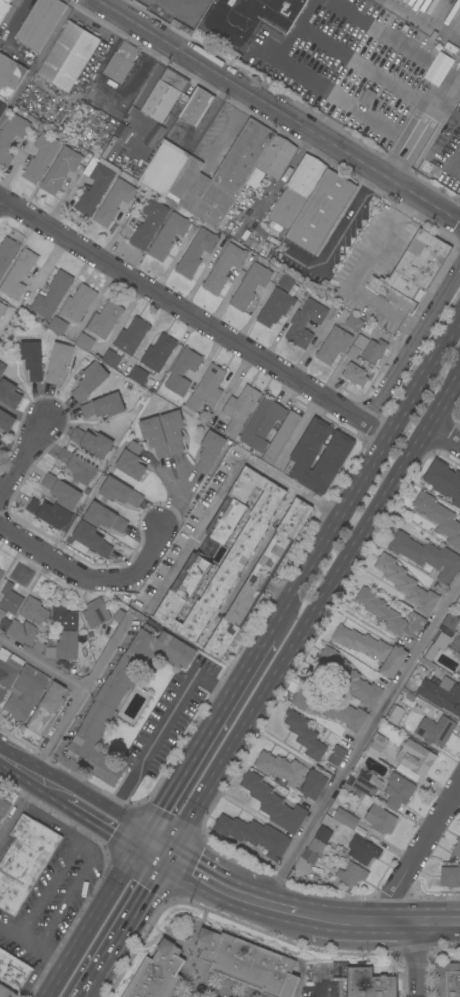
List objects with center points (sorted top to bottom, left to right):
road: (110, 2)
building: (3, 8)
road: (15, 17)
building: (248, 19)
building: (40, 24)
building: (69, 56)
road: (351, 59)
building: (121, 62)
road: (443, 68)
road: (455, 73)
building: (10, 76)
road: (328, 90)
building: (164, 94)
building: (196, 107)
building: (2, 108)
road: (447, 108)
road: (279, 110)
building: (11, 133)
building: (41, 157)
road: (454, 163)
building: (268, 166)
building: (164, 168)
building: (61, 169)
building: (221, 176)
building: (94, 185)
building: (297, 191)
building: (113, 202)
building: (321, 211)
road: (458, 221)
building: (149, 223)
parking lot: (354, 230)
building: (168, 235)
road: (339, 236)
building: (196, 252)
building: (7, 254)
building: (224, 268)
building: (413, 271)
road: (359, 273)
parking lot: (364, 273)
building: (18, 277)
building: (286, 282)
building: (250, 286)
building: (52, 295)
building: (78, 303)
building: (275, 307)
building: (2, 309)
building: (105, 319)
road: (192, 319)
building: (305, 322)
building: (354, 323)
building: (57, 325)
building: (132, 336)
building: (84, 342)
road: (411, 342)
building: (334, 345)
building: (367, 348)
building: (158, 352)
building: (111, 358)
building: (32, 359)
building: (58, 361)
building: (2, 368)
building: (182, 371)
building: (355, 374)
building: (138, 375)
building: (90, 381)
building: (206, 391)
building: (9, 394)
building: (104, 406)
building: (240, 409)
building: (6, 421)
building: (262, 424)
building: (173, 431)
building: (154, 436)
building: (281, 437)
road: (442, 437)
building: (92, 442)
building: (0, 445)
building: (210, 451)
building: (305, 454)
road: (22, 458)
building: (132, 461)
building: (78, 466)
road: (364, 474)
building: (444, 480)
road: (291, 484)
building: (62, 491)
building: (120, 492)
building: (51, 514)
building: (105, 517)
building: (439, 517)
road: (193, 531)
building: (91, 539)
road: (144, 553)
building: (238, 555)
building: (426, 555)
road: (60, 562)
building: (1, 574)
building: (258, 580)
building: (407, 584)
building: (11, 599)
building: (381, 610)
building: (33, 611)
building: (96, 613)
road: (313, 616)
building: (65, 618)
building: (4, 621)
building: (451, 621)
building: (414, 624)
building: (442, 627)
building: (23, 632)
building: (454, 642)
building: (361, 643)
building: (440, 643)
building: (64, 647)
building: (93, 648)
building: (459, 658)
road: (42, 661)
building: (394, 662)
building: (8, 670)
building: (459, 674)
building: (350, 678)
building: (26, 692)
building: (439, 693)
road: (78, 697)
building: (409, 697)
building: (122, 698)
building: (47, 708)
building: (331, 709)
building: (396, 714)
building: (435, 731)
road: (160, 732)
building: (383, 734)
building: (305, 735)
road: (205, 740)
road: (358, 741)
building: (375, 749)
building: (337, 755)
building: (416, 758)
road: (12, 768)
building: (281, 768)
road: (29, 779)
building: (315, 782)
building: (368, 785)
road: (50, 792)
building: (399, 792)
road: (28, 793)
road: (456, 794)
building: (273, 803)
building: (4, 807)
building: (346, 818)
building: (380, 819)
road: (49, 820)
road: (11, 821)
road: (102, 825)
building: (323, 834)
building: (254, 835)
traffic signals: (140, 848)
building: (457, 848)
building: (313, 850)
building: (363, 850)
road: (415, 853)
road: (153, 855)
building: (25, 861)
traffic signals: (166, 862)
building: (352, 874)
building: (450, 876)
road: (211, 886)
road: (47, 888)
road: (72, 891)
road: (286, 914)
road: (93, 922)
road: (129, 922)
road: (364, 923)
road: (438, 923)
road: (32, 948)
road: (416, 960)
building: (248, 963)
building: (338, 969)
building: (13, 970)
building: (158, 973)
building: (447, 980)
building: (369, 982)
road: (87, 989)
building: (6, 992)
parking lot: (319, 996)

